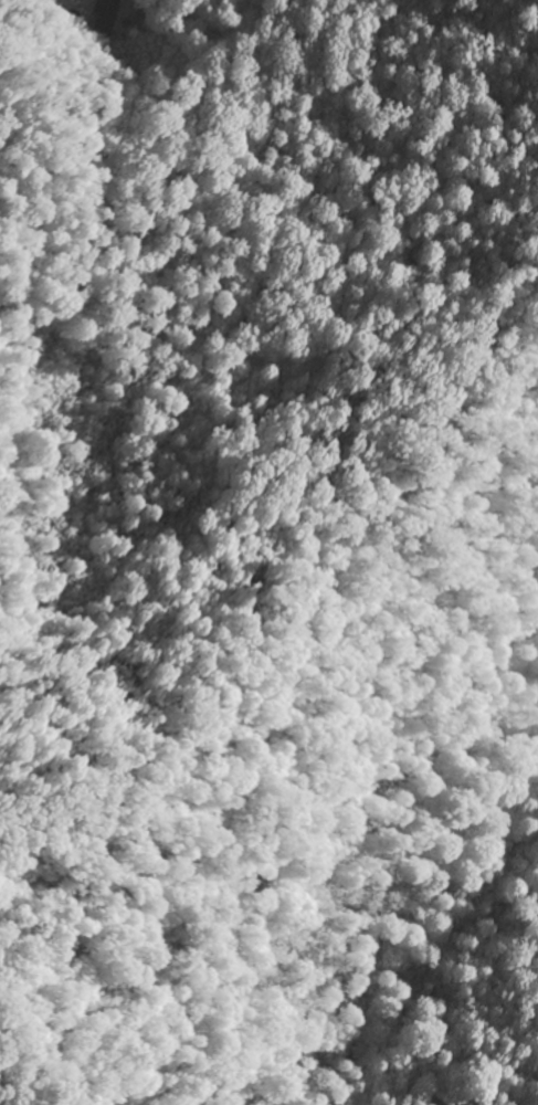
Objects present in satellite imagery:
building: (52, 1)
building: (92, 9)

